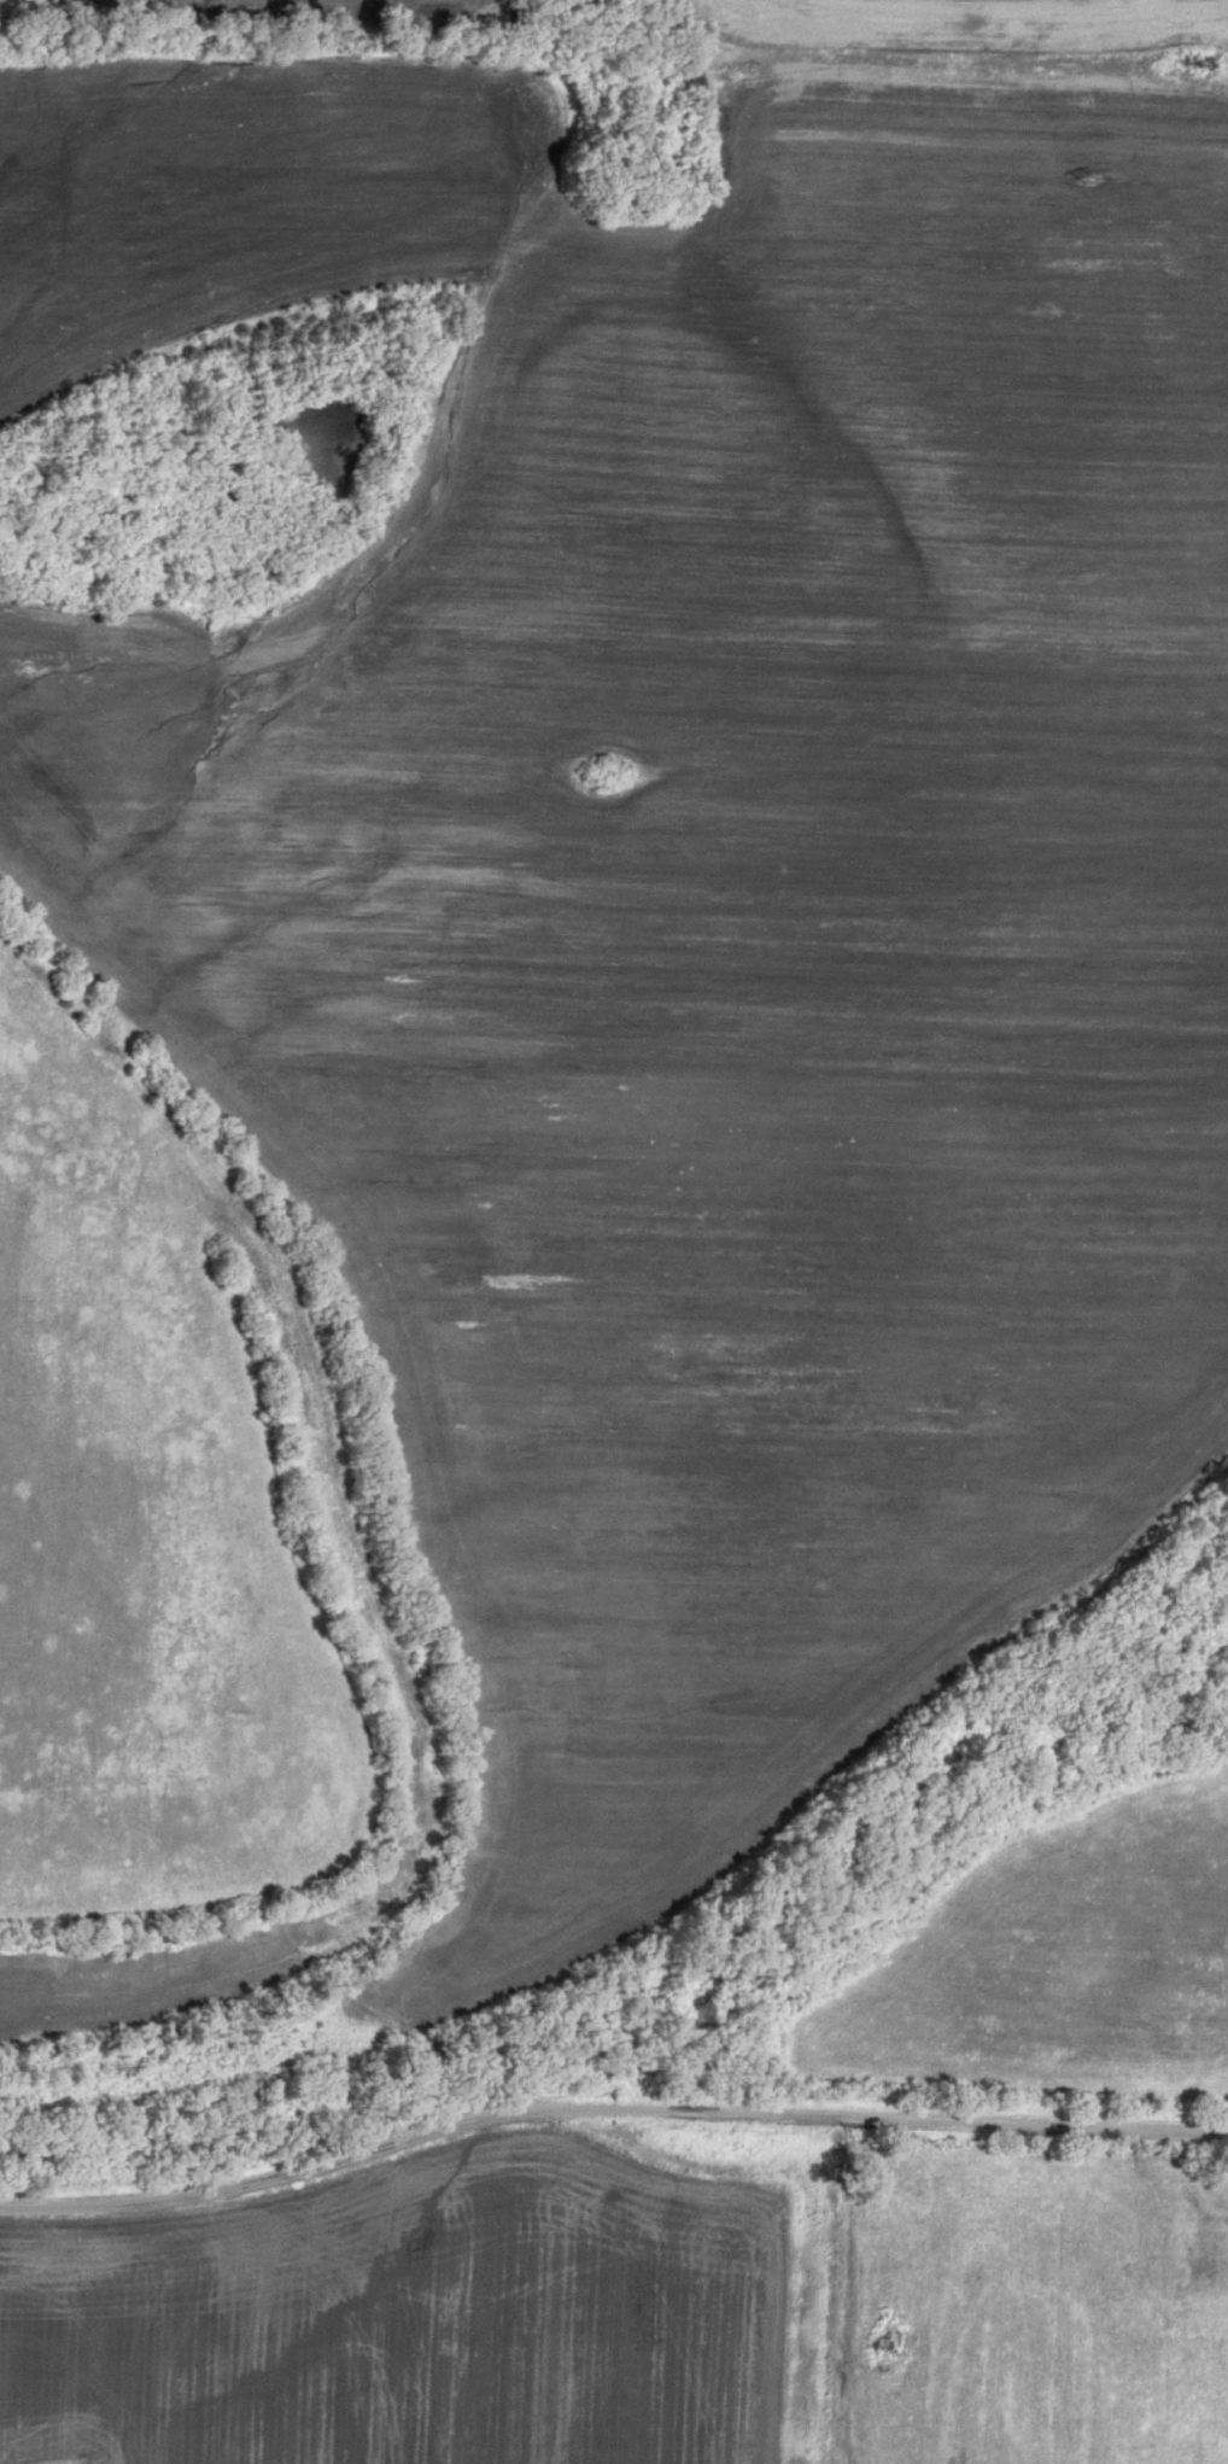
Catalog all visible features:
power tower: (1088, 185)
road: (608, 2110)

